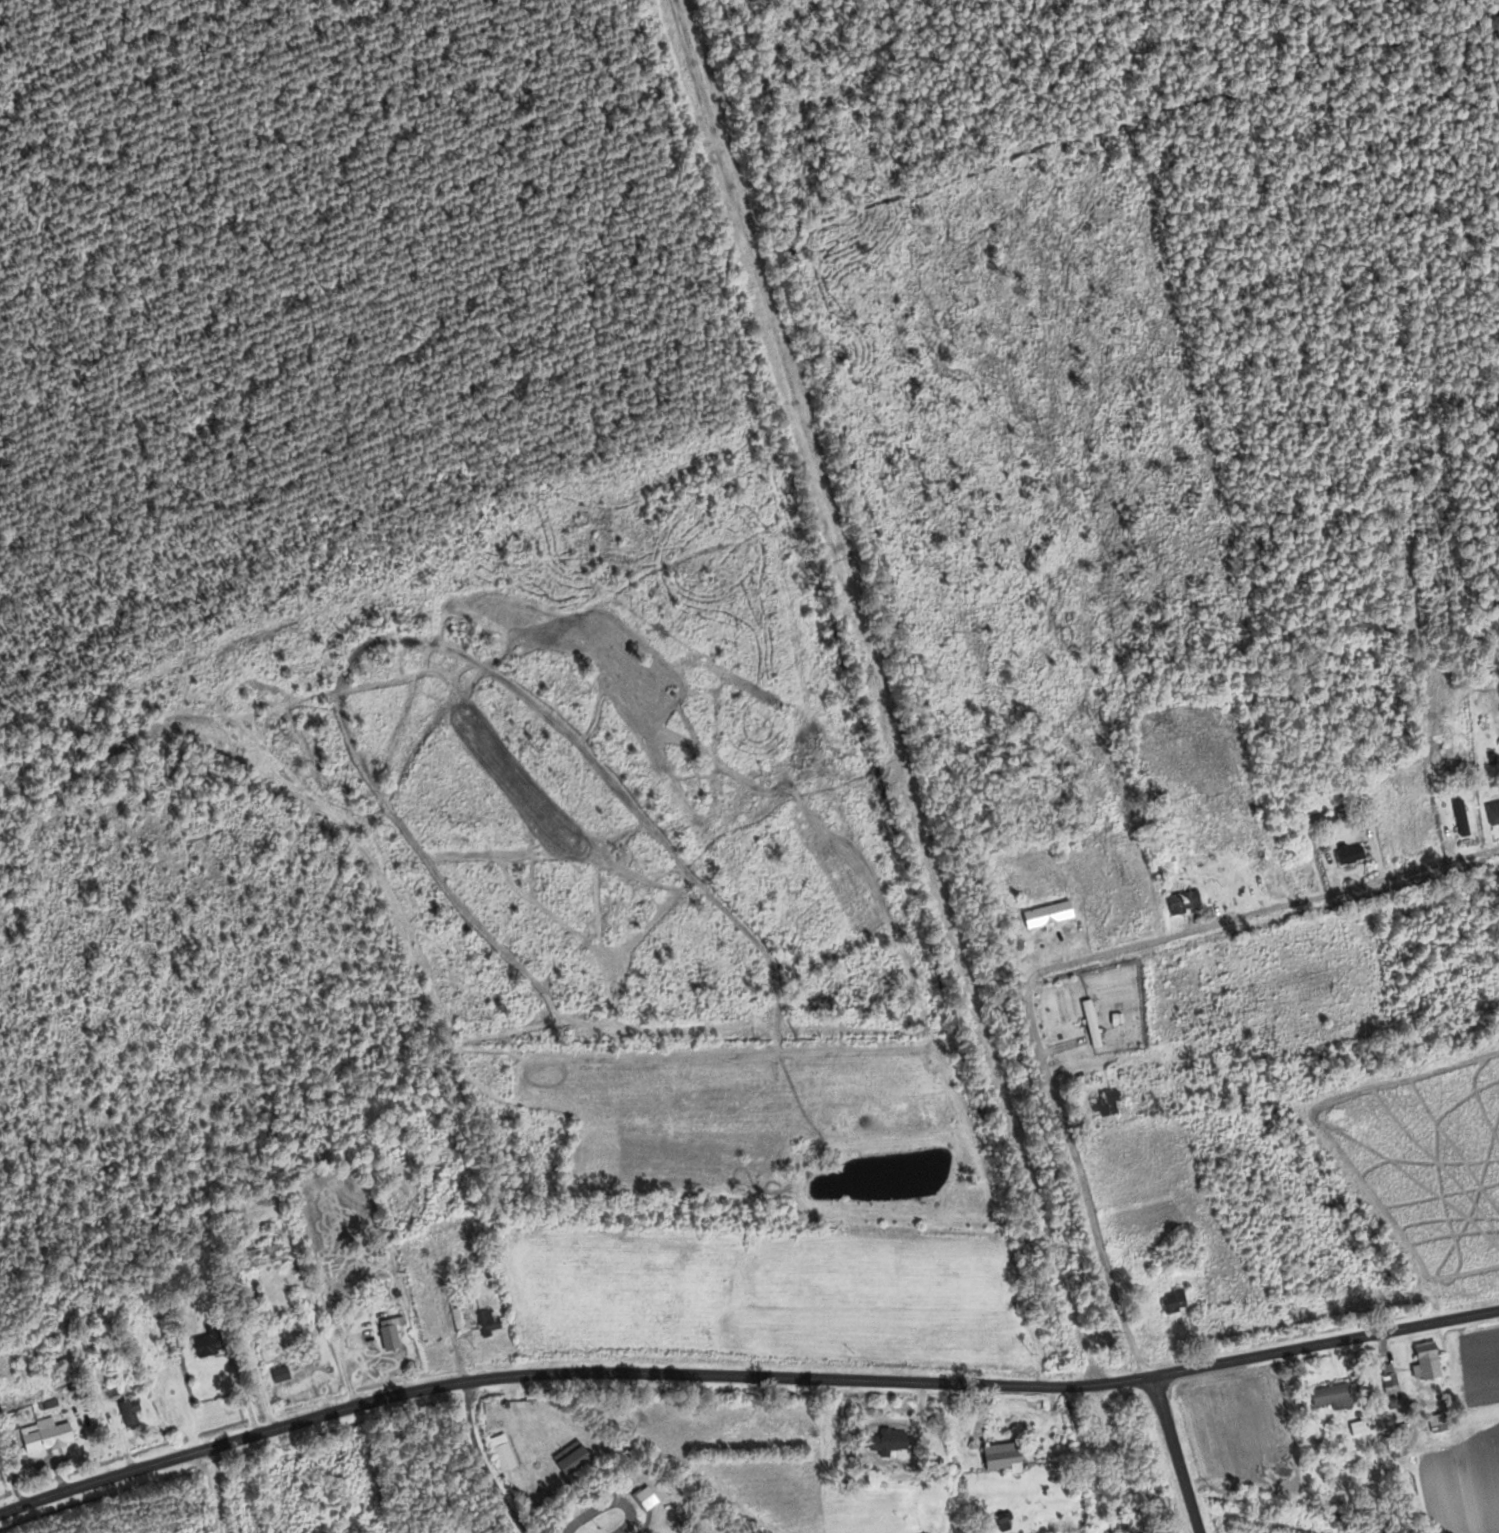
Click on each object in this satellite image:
building: (1495, 812)
building: (1465, 817)
building: (1353, 854)
building: (1188, 901)
building: (1051, 914)
road: (1060, 965)
building: (1093, 1022)
building: (1180, 1297)
building: (475, 1315)
building: (393, 1334)
building: (213, 1340)
building: (1431, 1359)
building: (286, 1373)
road: (743, 1377)
building: (1393, 1380)
building: (1335, 1397)
building: (132, 1412)
building: (50, 1435)
building: (895, 1440)
road: (1174, 1454)
building: (507, 1456)
building: (576, 1457)
building: (1006, 1457)
road: (239, 1483)

